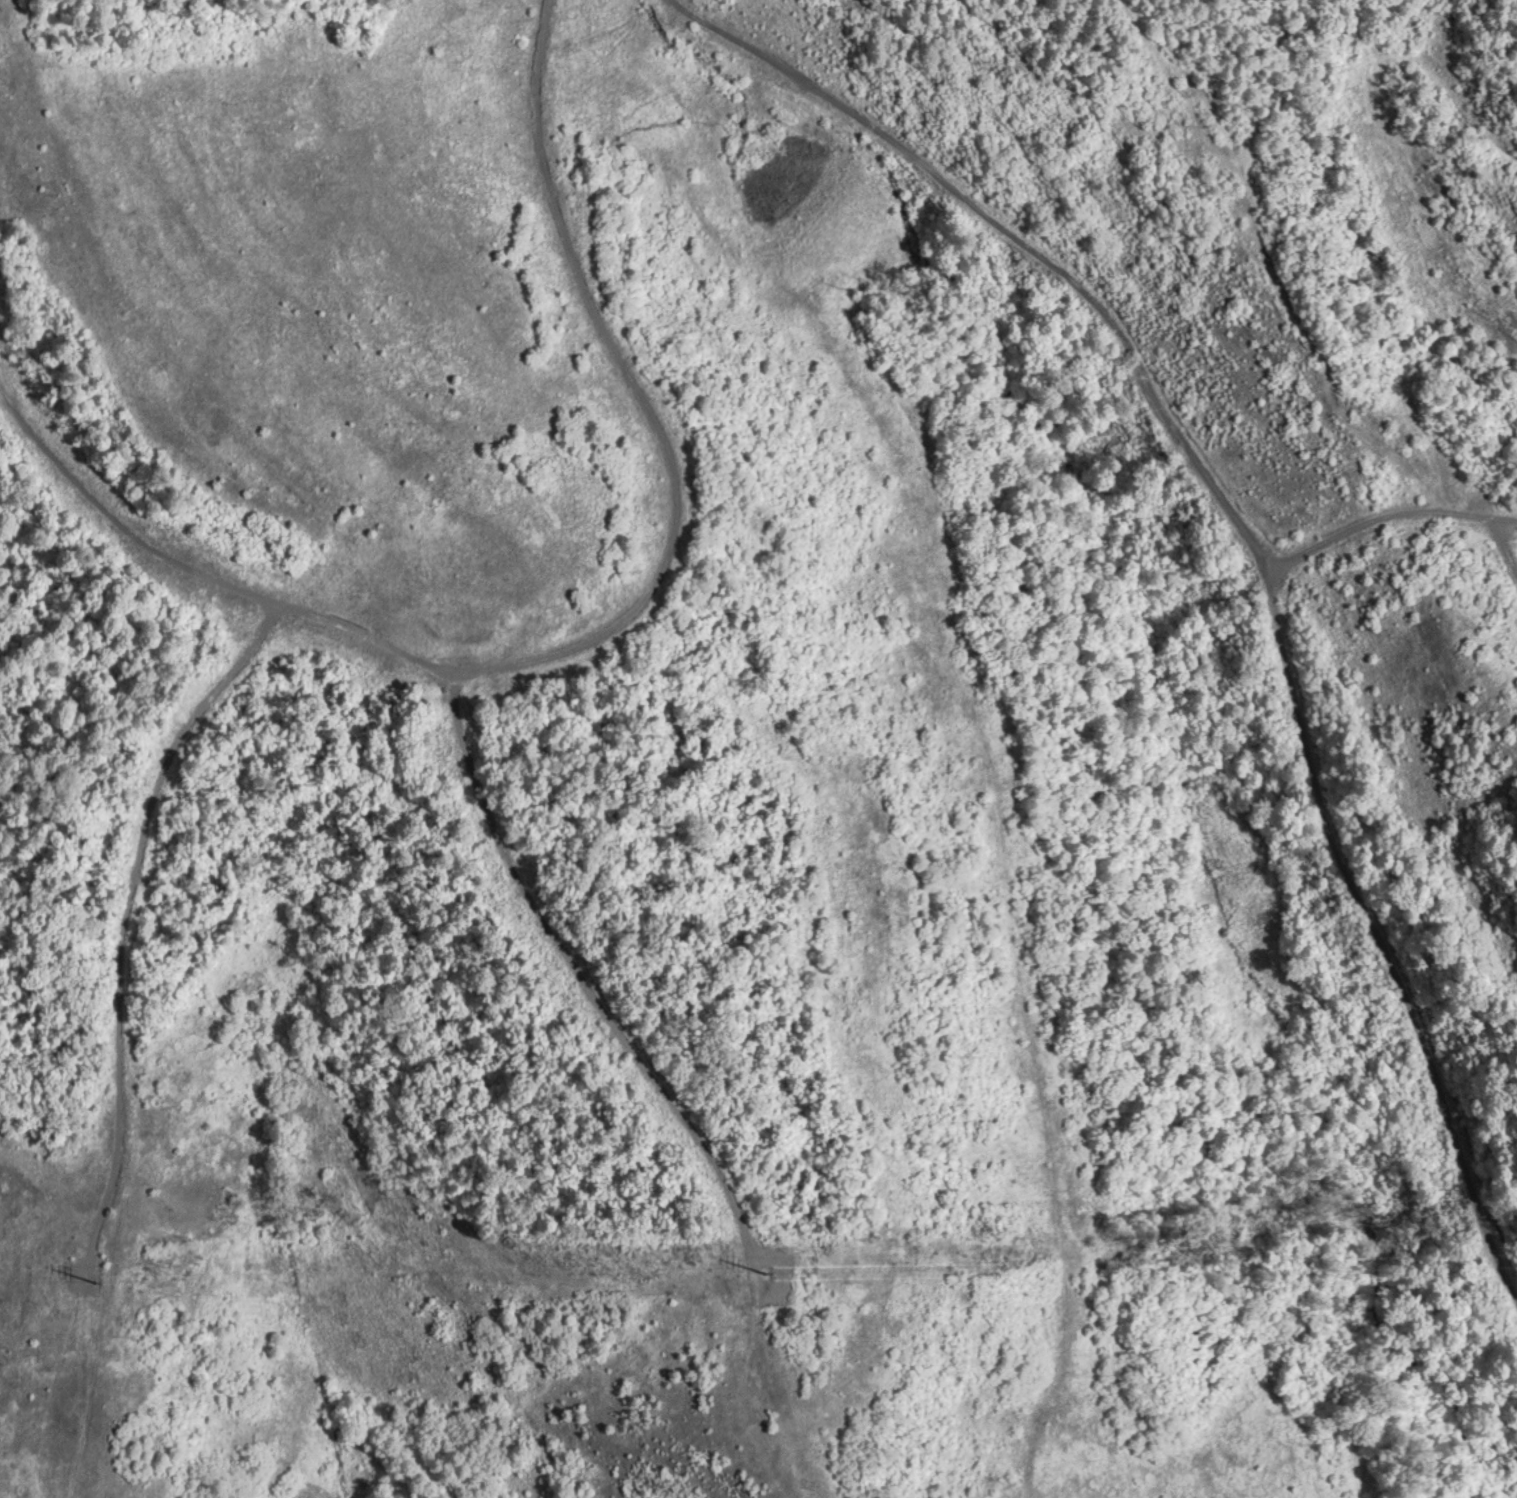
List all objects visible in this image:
road: (984, 167)
power tower: (776, 1266)
power tower: (105, 1272)

